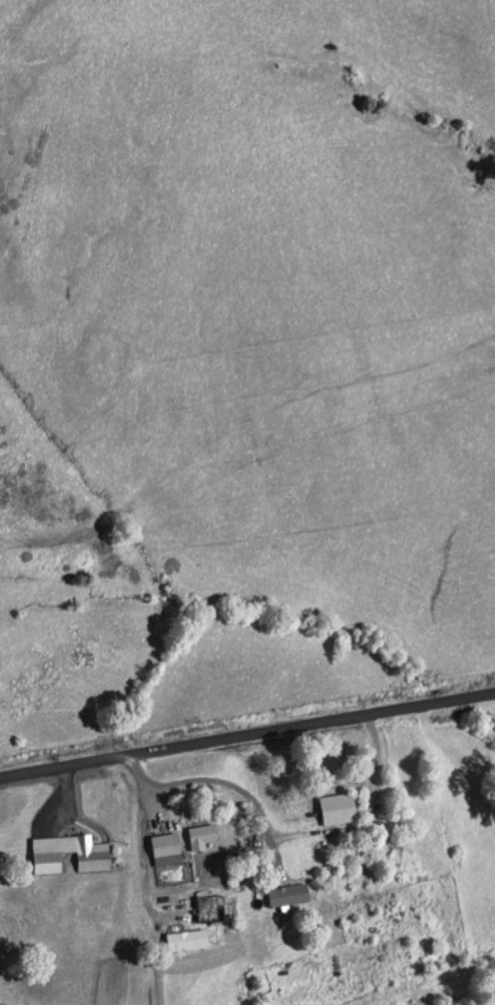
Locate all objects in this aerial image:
road: (247, 734)
building: (336, 810)
building: (201, 837)
building: (165, 851)
building: (93, 863)
building: (287, 896)
building: (209, 911)
building: (185, 943)

